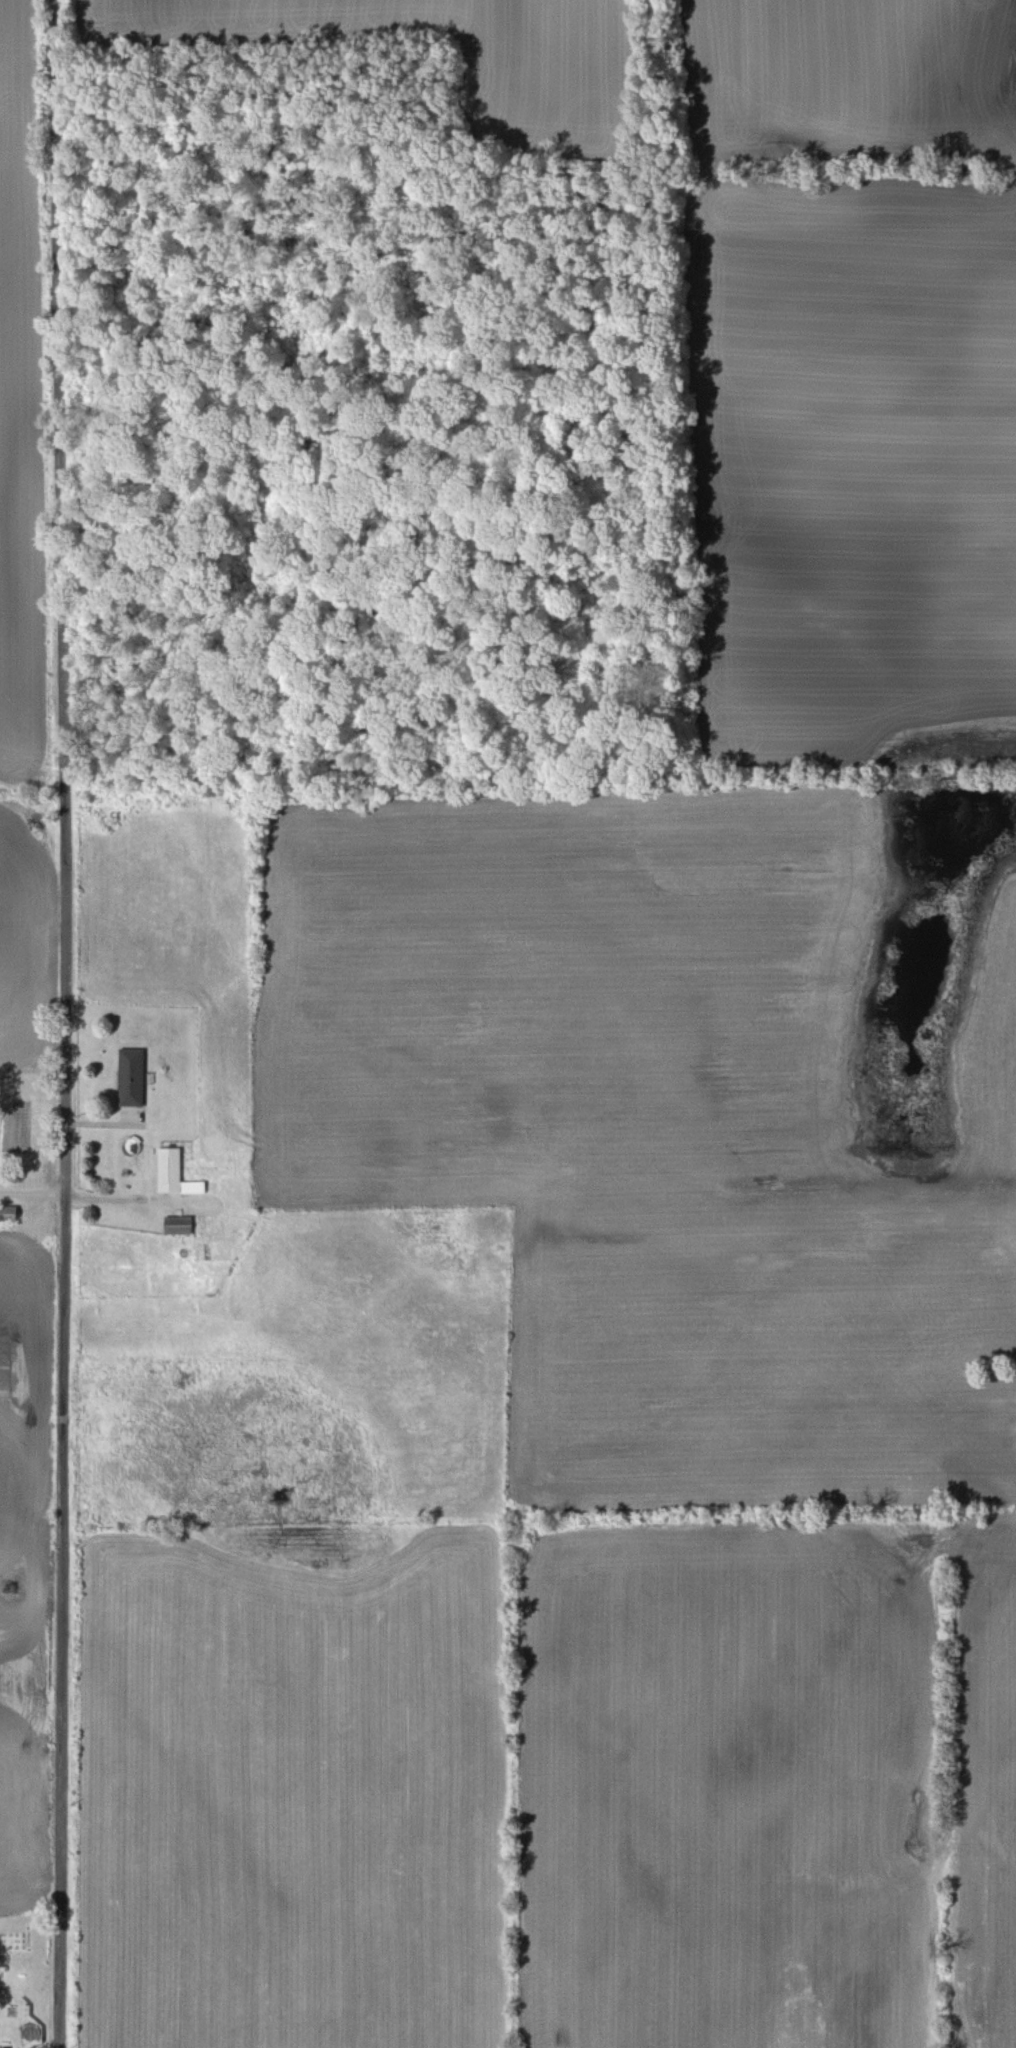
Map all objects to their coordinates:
road: (66, 1023)
building: (133, 1077)
building: (177, 1174)
road: (33, 1192)
building: (10, 1214)
building: (180, 1225)

